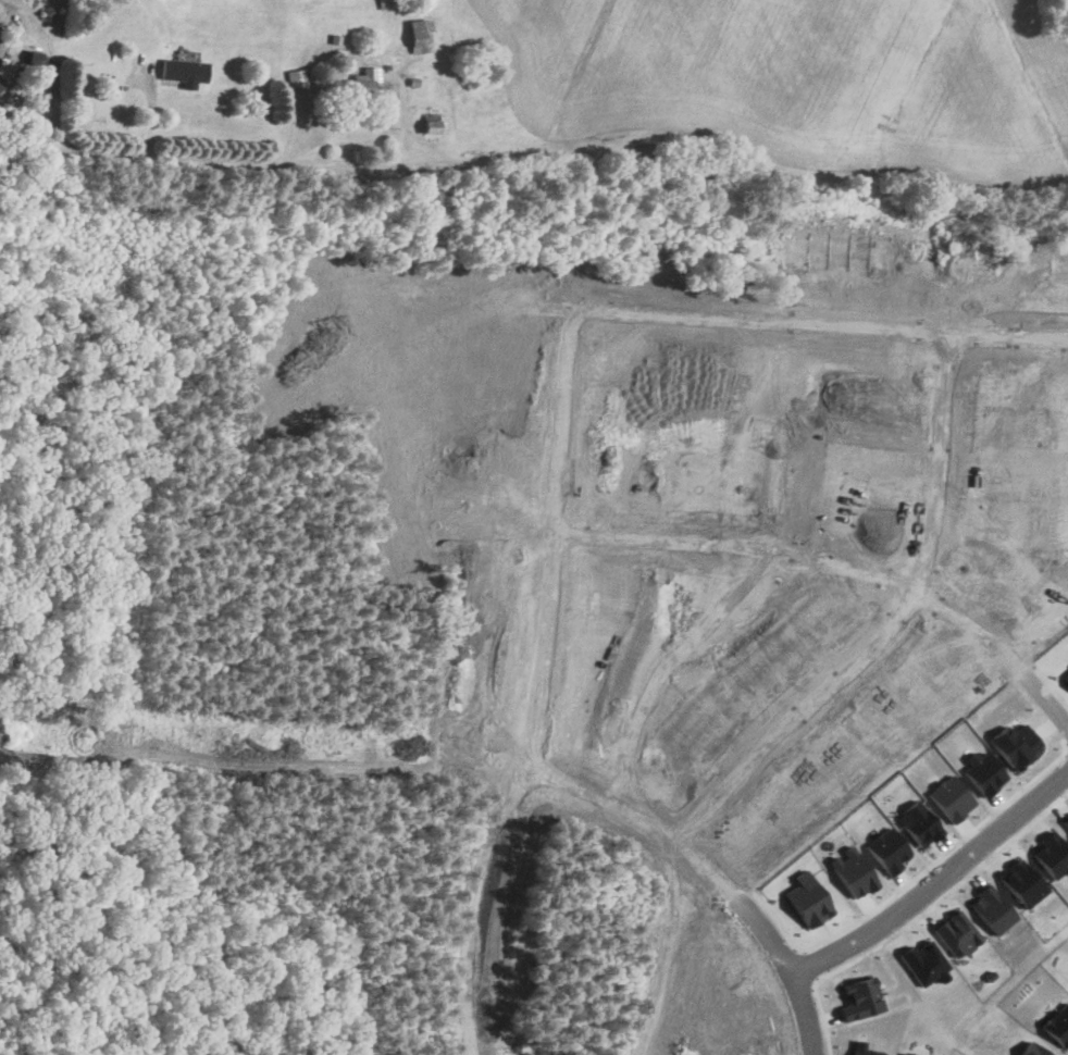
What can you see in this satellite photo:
building: (389, 3)
building: (419, 36)
road: (54, 61)
building: (184, 71)
building: (2, 73)
building: (296, 77)
building: (362, 84)
building: (433, 125)
building: (641, 151)
road: (288, 161)
road: (844, 327)
road: (880, 575)
road: (917, 576)
road: (936, 882)
road: (744, 899)

